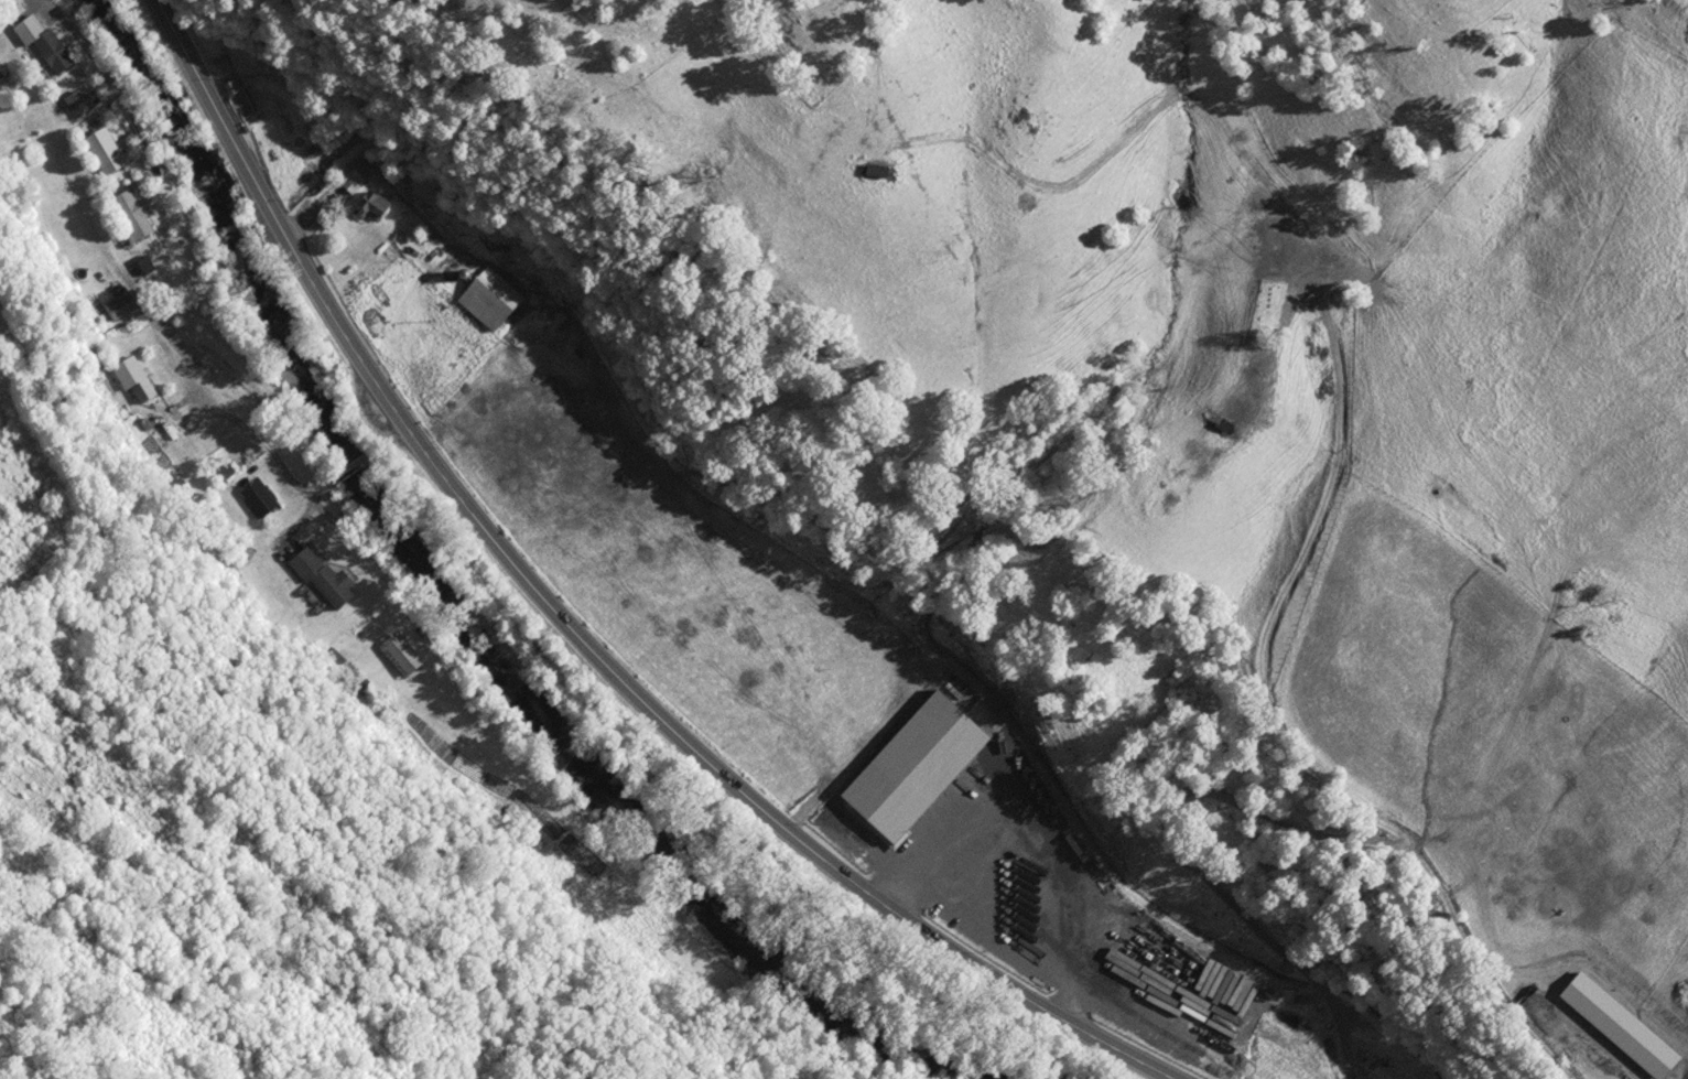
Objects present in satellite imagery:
building: (42, 43)
road: (96, 61)
building: (282, 75)
building: (77, 101)
building: (102, 151)
building: (873, 172)
building: (349, 183)
building: (369, 206)
building: (129, 216)
building: (487, 299)
building: (118, 306)
building: (138, 386)
crop: (1556, 390)
road: (389, 438)
road: (354, 462)
road: (323, 485)
building: (256, 501)
road: (334, 515)
building: (317, 580)
river: (450, 616)
road: (571, 629)
building: (398, 656)
crop: (1506, 775)
building: (855, 795)
road: (1256, 809)
road: (1018, 942)

